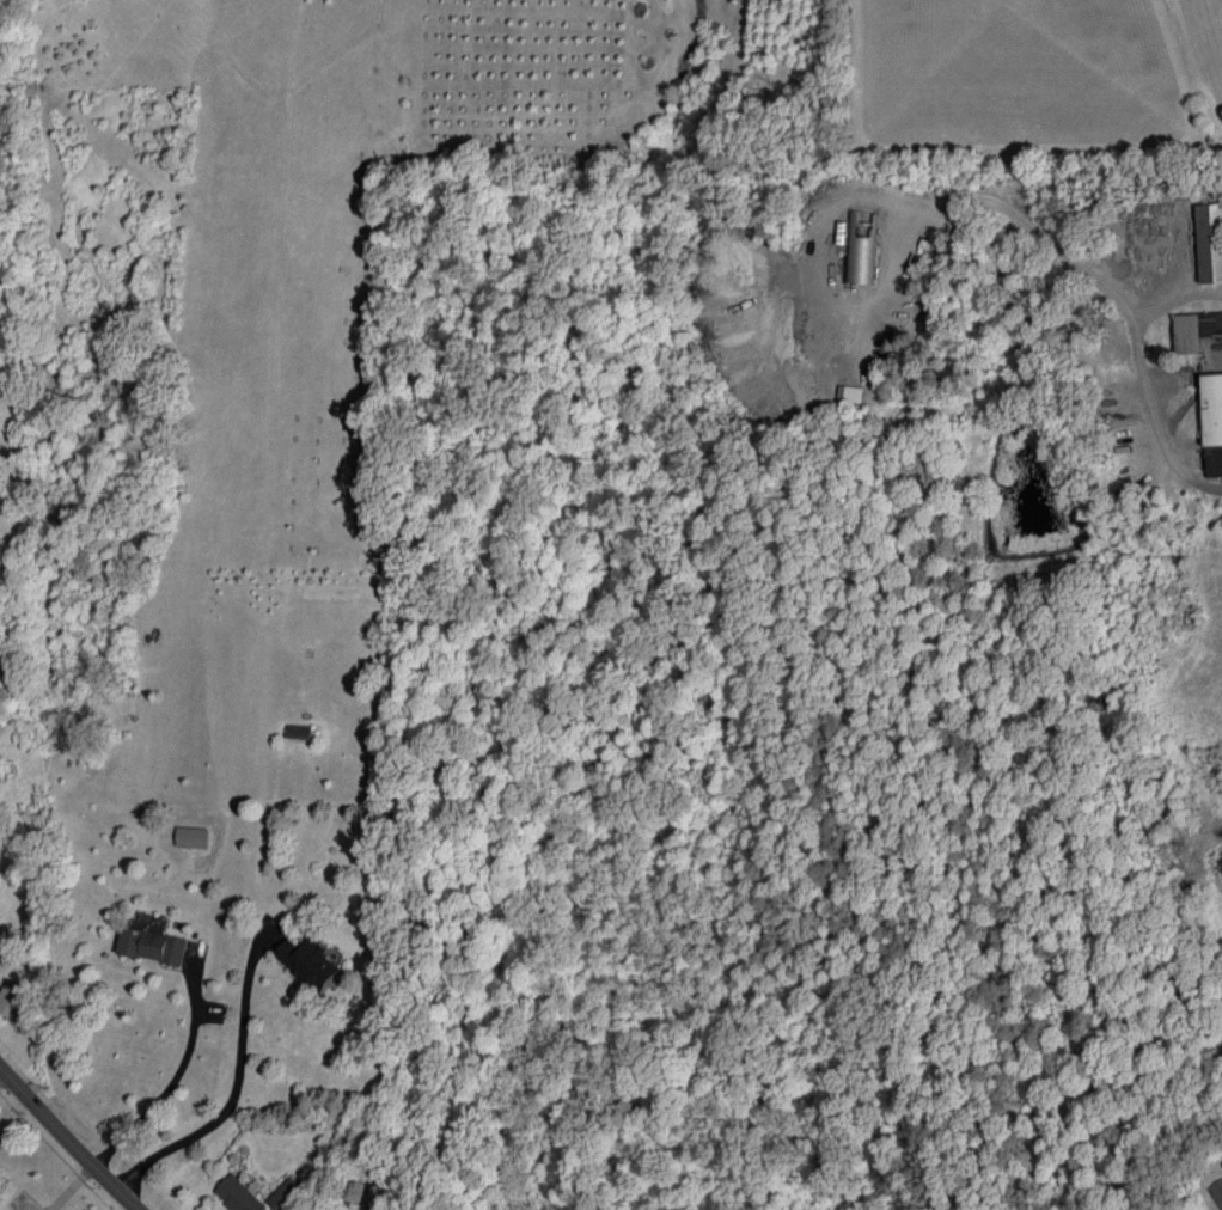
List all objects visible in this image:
building: (1210, 242)
building: (860, 253)
road: (1104, 299)
road: (1172, 299)
building: (1196, 330)
building: (850, 393)
building: (1212, 423)
building: (191, 837)
building: (152, 945)
building: (310, 961)
building: (12, 998)
road: (166, 1084)
road: (242, 1093)
road: (69, 1139)
building: (1217, 1192)
building: (238, 1196)
building: (286, 1196)

